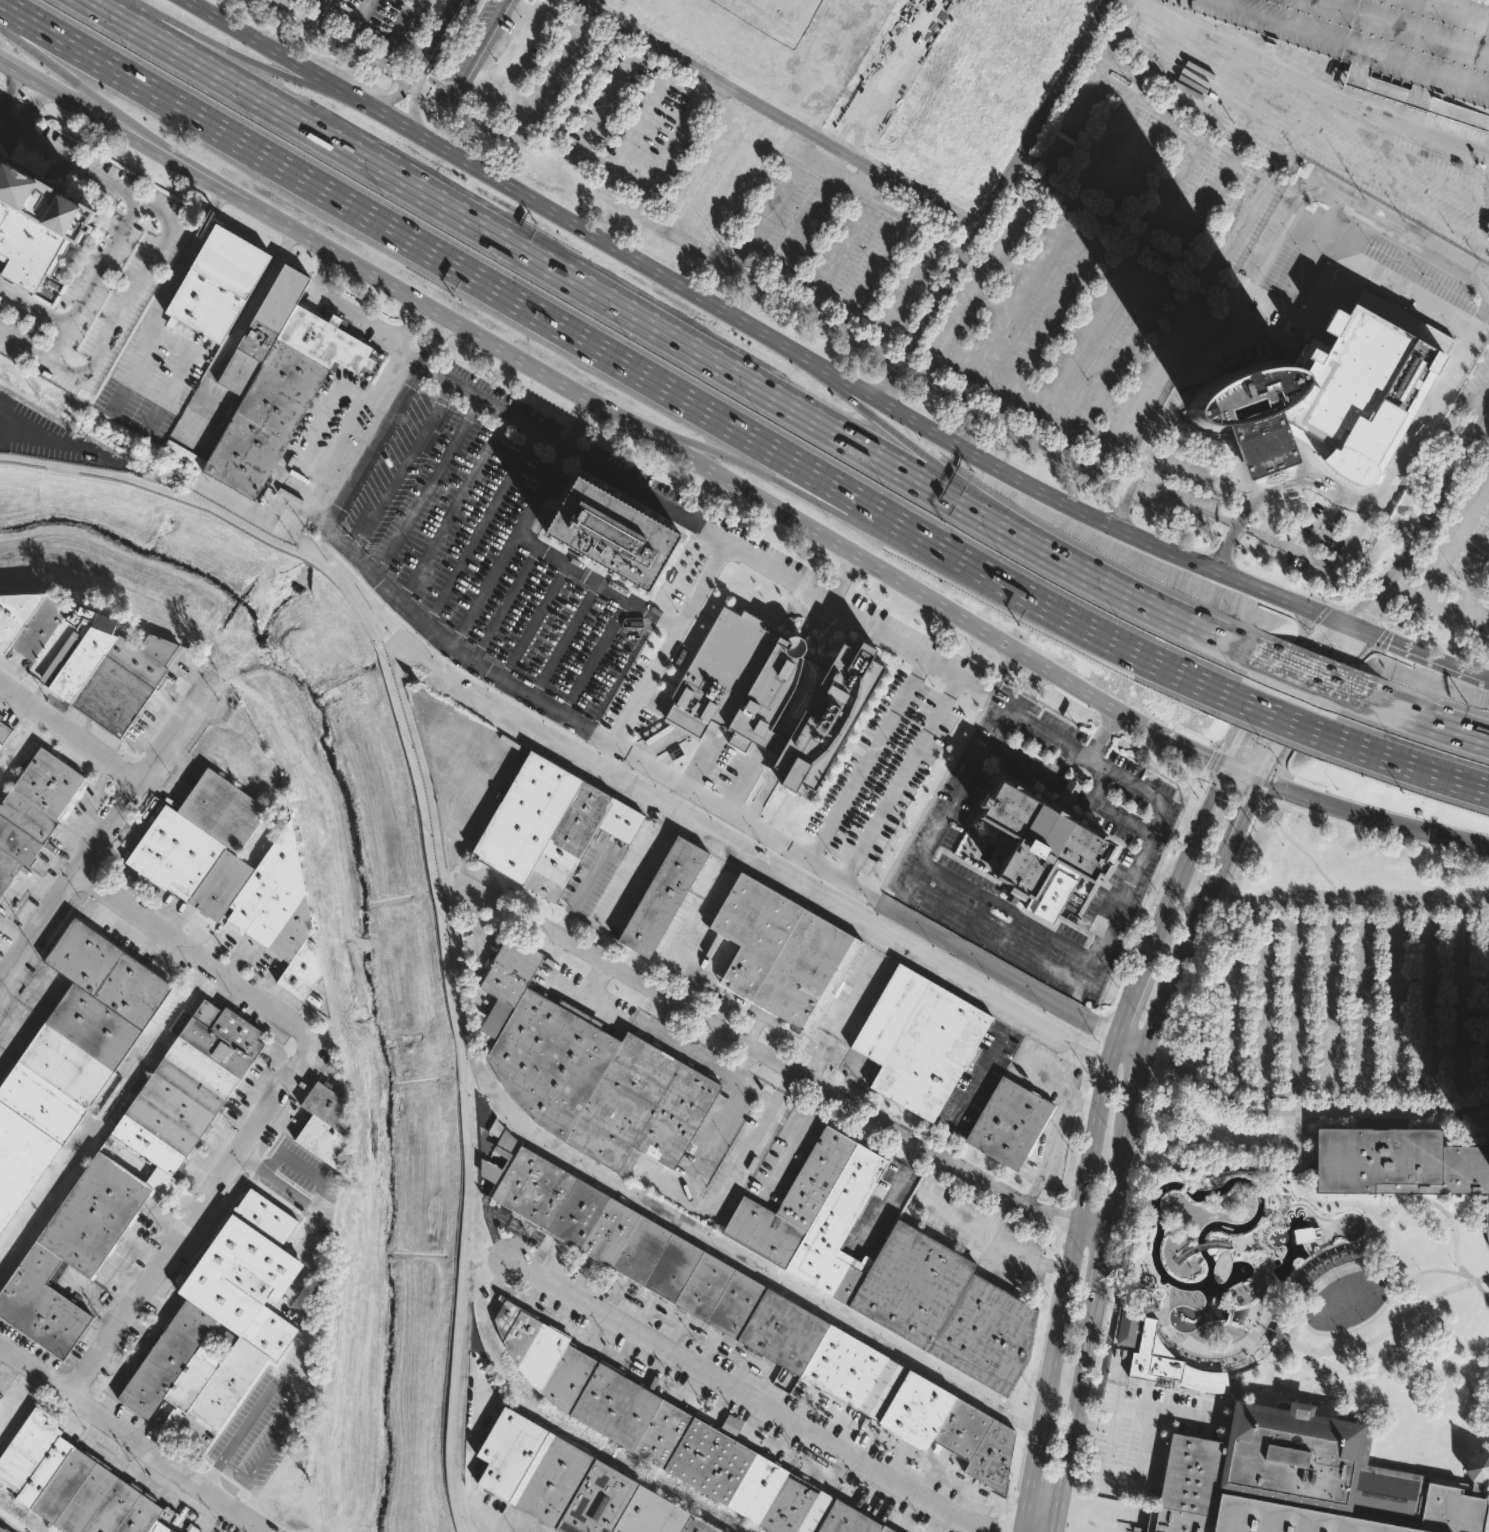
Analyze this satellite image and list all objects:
road: (1118, 1)
road: (440, 7)
road: (321, 10)
road: (360, 19)
road: (1093, 22)
parking lot: (359, 26)
road: (348, 38)
road: (437, 42)
building: (1382, 44)
parking garage: (1382, 44)
road: (233, 53)
road: (30, 80)
road: (412, 87)
road: (11, 92)
road: (90, 92)
road: (27, 105)
road: (785, 112)
building: (41, 192)
building: (29, 246)
parking lot: (966, 248)
road: (151, 253)
road: (1309, 256)
road: (571, 275)
road: (93, 279)
building: (216, 283)
road: (1413, 292)
road: (33, 306)
road: (1323, 306)
road: (357, 315)
road: (153, 318)
road: (406, 319)
building: (264, 328)
road: (1265, 328)
road: (1415, 328)
road: (761, 332)
road: (434, 336)
road: (1469, 337)
road: (606, 352)
road: (133, 371)
road: (479, 391)
building: (1243, 391)
building: (1358, 391)
building: (284, 396)
road: (1486, 398)
road: (1428, 400)
road: (1162, 414)
road: (616, 415)
road: (1481, 436)
road: (27, 439)
building: (1306, 439)
road: (375, 440)
building: (1261, 441)
building: (182, 454)
road: (928, 459)
road: (404, 462)
road: (1273, 469)
road: (1276, 480)
road: (431, 484)
road: (1184, 502)
road: (818, 504)
road: (458, 506)
road: (1431, 512)
road: (1265, 515)
road: (483, 526)
building: (722, 527)
road: (1323, 528)
building: (613, 534)
road: (1454, 539)
road: (1302, 546)
road: (735, 548)
road: (1325, 564)
parking lot: (1455, 569)
road: (844, 578)
road: (485, 589)
road: (1476, 589)
road: (401, 595)
road: (625, 599)
road: (1143, 599)
road: (1435, 602)
road: (509, 604)
road: (1331, 605)
road: (1337, 606)
road: (640, 607)
road: (1321, 616)
road: (1365, 616)
road: (534, 619)
building: (29, 621)
road: (1386, 621)
traffic signals: (1354, 627)
road: (565, 638)
road: (1380, 639)
road: (1309, 654)
road: (1420, 655)
building: (114, 671)
road: (1002, 672)
road: (1305, 672)
road: (621, 673)
road: (1332, 673)
road: (1488, 678)
road: (1260, 683)
road: (973, 684)
road: (1023, 686)
building: (772, 695)
road: (1320, 707)
road: (1275, 711)
road: (1425, 718)
building: (4, 731)
road: (69, 731)
road: (1254, 731)
road: (1278, 747)
road: (866, 759)
road: (1405, 760)
road: (635, 762)
road: (1214, 762)
traffic signals: (1234, 768)
road: (1037, 769)
road: (1246, 773)
road: (897, 777)
traffic signals: (1258, 779)
road: (1270, 784)
road: (1485, 785)
road: (1485, 785)
road: (1235, 786)
road: (1106, 808)
building: (34, 811)
road: (1371, 817)
road: (664, 818)
building: (548, 826)
road: (105, 828)
building: (1043, 845)
road: (1303, 851)
road: (439, 853)
road: (747, 856)
road: (1190, 857)
road: (1235, 859)
road: (432, 865)
building: (233, 872)
road: (910, 881)
road: (458, 888)
road: (582, 890)
road: (624, 890)
road: (1160, 892)
road: (1221, 895)
building: (661, 896)
road: (943, 899)
road: (880, 904)
road: (1347, 905)
road: (978, 918)
road: (1024, 920)
road: (1008, 936)
road: (676, 943)
road: (187, 946)
building: (782, 952)
road: (1042, 955)
road: (981, 960)
road: (1183, 979)
road: (1083, 983)
road: (1130, 992)
road: (855, 995)
road: (1232, 1002)
road: (1460, 1005)
road: (1264, 1007)
road: (1297, 1007)
road: (1330, 1008)
road: (1362, 1008)
road: (1394, 1008)
road: (1427, 1008)
road: (661, 1009)
road: (1199, 1016)
road: (1107, 1017)
road: (1087, 1018)
road: (1109, 1032)
road: (1101, 1037)
building: (918, 1040)
road: (1129, 1043)
building: (70, 1055)
road: (818, 1057)
road: (772, 1059)
road: (1095, 1059)
road: (1153, 1060)
road: (751, 1061)
building: (590, 1072)
road: (1045, 1074)
road: (744, 1077)
road: (785, 1080)
road: (1090, 1082)
building: (192, 1086)
road: (1249, 1087)
road: (969, 1091)
road: (1346, 1092)
road: (820, 1099)
road: (1083, 1100)
road: (1144, 1100)
road: (1086, 1103)
road: (1442, 1103)
road: (1309, 1110)
building: (323, 1122)
building: (1008, 1123)
road: (1392, 1124)
road: (1124, 1146)
road: (1049, 1151)
road: (1134, 1152)
road: (788, 1154)
road: (917, 1158)
road: (1076, 1159)
road: (270, 1161)
building: (1398, 1163)
road: (695, 1166)
road: (665, 1187)
road: (289, 1190)
road: (886, 1210)
building: (92, 1215)
road: (998, 1215)
road: (1063, 1216)
road: (198, 1217)
road: (971, 1225)
road: (1093, 1225)
road: (1455, 1227)
road: (1384, 1228)
road: (1074, 1232)
building: (1307, 1234)
road: (1062, 1242)
building: (1488, 1248)
road: (742, 1262)
building: (886, 1266)
road: (1056, 1266)
water park: (1217, 1275)
building: (690, 1276)
road: (1482, 1291)
road: (1115, 1293)
building: (40, 1304)
road: (1304, 1308)
building: (225, 1318)
road: (308, 1324)
road: (1391, 1326)
building: (1126, 1328)
road: (1352, 1328)
park: (1393, 1333)
road: (1041, 1345)
road: (1437, 1357)
building: (1170, 1365)
road: (1309, 1369)
road: (1306, 1383)
building: (0, 1393)
building: (0, 1396)
road: (757, 1403)
road: (1487, 1412)
building: (172, 1418)
road: (1025, 1423)
building: (731, 1425)
building: (950, 1428)
road: (1090, 1430)
building: (670, 1431)
road: (279, 1434)
road: (130, 1441)
building: (26, 1450)
building: (1488, 1455)
road: (1029, 1480)
road: (1017, 1481)
building: (1304, 1481)
building: (576, 1484)
building: (83, 1494)
building: (166, 1516)
building: (158, 1527)
building: (2, 1530)

